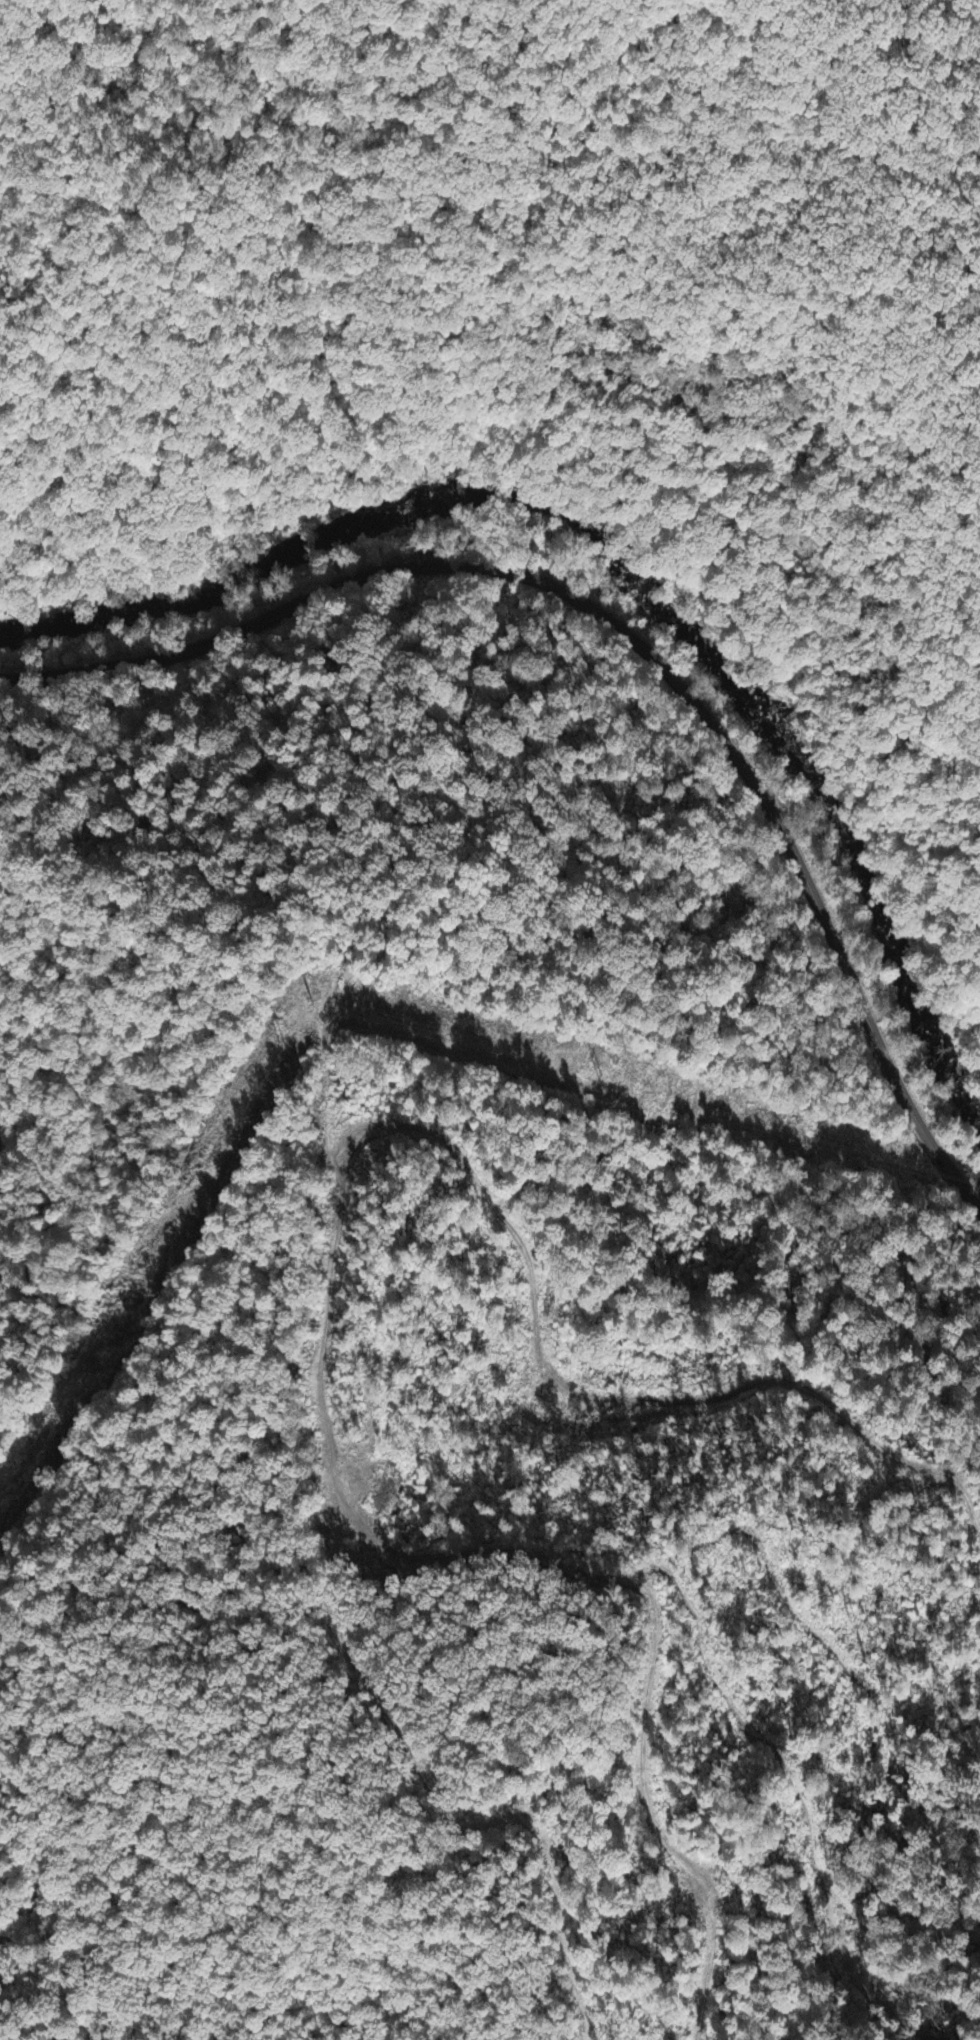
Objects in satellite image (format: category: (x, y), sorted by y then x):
river: (631, 562)
road: (632, 642)

